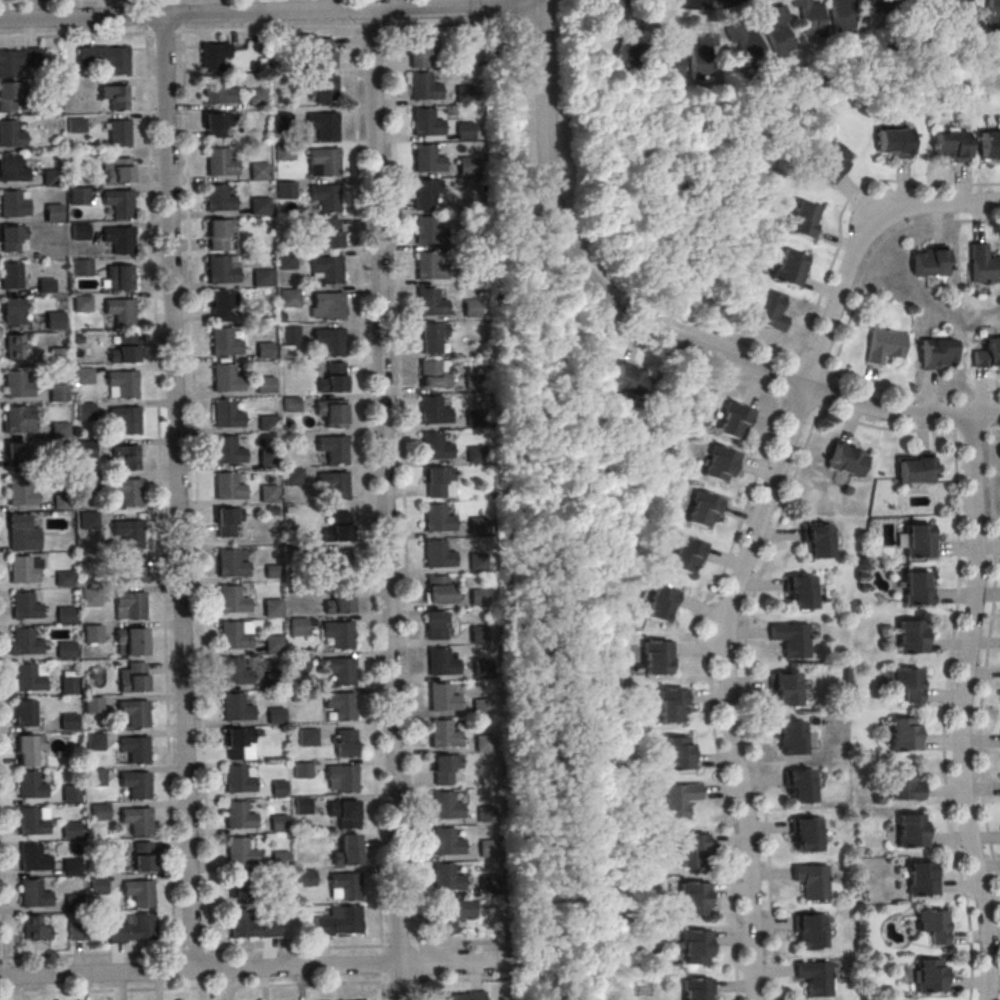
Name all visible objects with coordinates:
building: (879, 6)
road: (271, 11)
building: (993, 12)
building: (959, 14)
building: (838, 16)
building: (809, 18)
road: (236, 31)
building: (776, 32)
building: (628, 46)
building: (748, 47)
building: (419, 50)
building: (323, 52)
building: (213, 55)
building: (702, 55)
building: (17, 59)
building: (113, 59)
building: (669, 60)
building: (421, 89)
building: (214, 90)
building: (320, 90)
building: (255, 95)
building: (462, 95)
building: (9, 96)
building: (114, 96)
road: (544, 104)
building: (215, 124)
building: (424, 124)
building: (75, 125)
building: (321, 126)
building: (117, 132)
building: (462, 132)
building: (10, 136)
building: (891, 144)
building: (989, 144)
building: (948, 148)
building: (283, 154)
building: (425, 161)
building: (218, 162)
building: (323, 162)
building: (827, 164)
building: (464, 167)
building: (116, 169)
building: (11, 171)
building: (256, 173)
building: (51, 179)
building: (284, 192)
building: (423, 192)
building: (217, 197)
building: (79, 198)
building: (324, 198)
building: (117, 201)
building: (11, 206)
building: (258, 208)
building: (52, 215)
building: (801, 219)
building: (426, 232)
building: (79, 233)
building: (218, 233)
building: (328, 233)
building: (13, 238)
building: (118, 238)
road: (859, 238)
building: (468, 240)
road: (837, 242)
road: (877, 248)
building: (928, 261)
building: (285, 263)
building: (983, 264)
building: (82, 268)
building: (787, 268)
building: (219, 269)
building: (427, 269)
building: (326, 270)
building: (11, 275)
building: (467, 276)
building: (117, 277)
building: (260, 279)
building: (45, 285)
building: (288, 299)
building: (80, 305)
building: (218, 305)
building: (428, 305)
building: (328, 306)
building: (11, 310)
building: (120, 310)
building: (470, 311)
building: (766, 312)
building: (55, 322)
building: (289, 334)
building: (429, 336)
building: (223, 341)
building: (328, 342)
building: (883, 345)
building: (15, 346)
building: (123, 348)
building: (264, 349)
building: (936, 352)
building: (987, 353)
building: (56, 358)
road: (793, 360)
road: (746, 364)
building: (433, 373)
road: (831, 374)
building: (82, 377)
building: (333, 377)
building: (225, 378)
building: (626, 380)
building: (122, 382)
building: (471, 384)
road: (806, 384)
road: (805, 385)
building: (16, 386)
building: (264, 386)
road: (915, 393)
building: (57, 394)
road: (780, 395)
building: (291, 403)
road: (820, 409)
building: (84, 413)
building: (431, 413)
building: (225, 414)
building: (330, 414)
building: (19, 418)
building: (125, 418)
building: (474, 419)
building: (266, 422)
building: (731, 423)
road: (995, 427)
road: (973, 428)
road: (989, 428)
building: (59, 432)
building: (433, 448)
building: (85, 450)
building: (227, 450)
building: (331, 450)
building: (17, 452)
building: (473, 456)
building: (125, 457)
building: (268, 459)
building: (845, 459)
building: (717, 465)
building: (914, 468)
building: (292, 478)
building: (438, 482)
building: (88, 483)
building: (227, 486)
building: (333, 486)
road: (402, 486)
road: (366, 487)
building: (127, 490)
road: (195, 492)
road: (159, 493)
road: (177, 493)
building: (20, 494)
building: (267, 495)
road: (384, 503)
building: (61, 504)
building: (701, 512)
building: (436, 520)
building: (227, 521)
building: (88, 522)
building: (337, 527)
building: (476, 527)
building: (127, 531)
building: (21, 535)
building: (817, 543)
building: (918, 544)
building: (436, 557)
building: (684, 557)
building: (230, 563)
building: (476, 563)
building: (335, 564)
building: (133, 567)
building: (272, 571)
building: (21, 572)
building: (64, 580)
road: (542, 583)
building: (916, 592)
building: (439, 593)
building: (799, 595)
road: (708, 596)
building: (90, 599)
building: (231, 599)
building: (477, 599)
building: (337, 604)
building: (128, 605)
building: (659, 606)
building: (24, 608)
building: (271, 609)
building: (64, 616)
building: (435, 624)
building: (297, 628)
road: (745, 630)
building: (92, 635)
building: (232, 635)
building: (337, 636)
building: (478, 636)
building: (791, 637)
building: (130, 639)
building: (910, 640)
building: (25, 644)
building: (271, 645)
building: (65, 652)
road: (986, 657)
building: (654, 660)
building: (300, 662)
building: (440, 664)
building: (234, 670)
building: (481, 671)
building: (339, 672)
building: (132, 677)
building: (27, 680)
building: (272, 681)
building: (907, 683)
road: (725, 685)
building: (64, 686)
building: (784, 691)
building: (441, 700)
building: (235, 706)
building: (92, 707)
building: (339, 707)
road: (961, 707)
building: (669, 708)
building: (480, 709)
building: (133, 711)
building: (25, 712)
road: (944, 715)
building: (274, 717)
building: (69, 720)
building: (903, 734)
building: (443, 736)
building: (307, 738)
building: (789, 739)
building: (94, 743)
building: (238, 743)
building: (345, 745)
building: (483, 745)
building: (28, 748)
building: (134, 748)
building: (675, 755)
building: (301, 771)
building: (441, 772)
building: (95, 779)
building: (237, 779)
building: (342, 779)
building: (135, 783)
building: (902, 783)
building: (30, 787)
building: (278, 787)
building: (798, 788)
building: (70, 795)
building: (676, 802)
building: (303, 808)
building: (444, 808)
building: (99, 813)
building: (238, 814)
building: (342, 815)
building: (486, 816)
building: (136, 819)
building: (31, 823)
building: (277, 825)
building: (911, 830)
building: (70, 832)
building: (805, 836)
building: (445, 844)
building: (347, 849)
building: (240, 850)
building: (486, 850)
building: (690, 853)
building: (142, 855)
building: (32, 860)
building: (278, 862)
building: (71, 870)
building: (922, 878)
building: (304, 880)
building: (446, 880)
building: (811, 883)
building: (237, 885)
building: (487, 886)
building: (97, 887)
building: (345, 887)
building: (138, 891)
building: (33, 896)
building: (278, 896)
building: (692, 902)
building: (72, 904)
road: (1, 911)
building: (453, 913)
building: (339, 921)
building: (242, 923)
building: (932, 925)
building: (133, 928)
building: (808, 930)
building: (34, 932)
building: (75, 933)
road: (248, 950)
building: (694, 950)
road: (269, 968)
road: (381, 973)
building: (929, 975)
building: (814, 980)
road: (255, 987)
building: (694, 991)
building: (460, 995)

